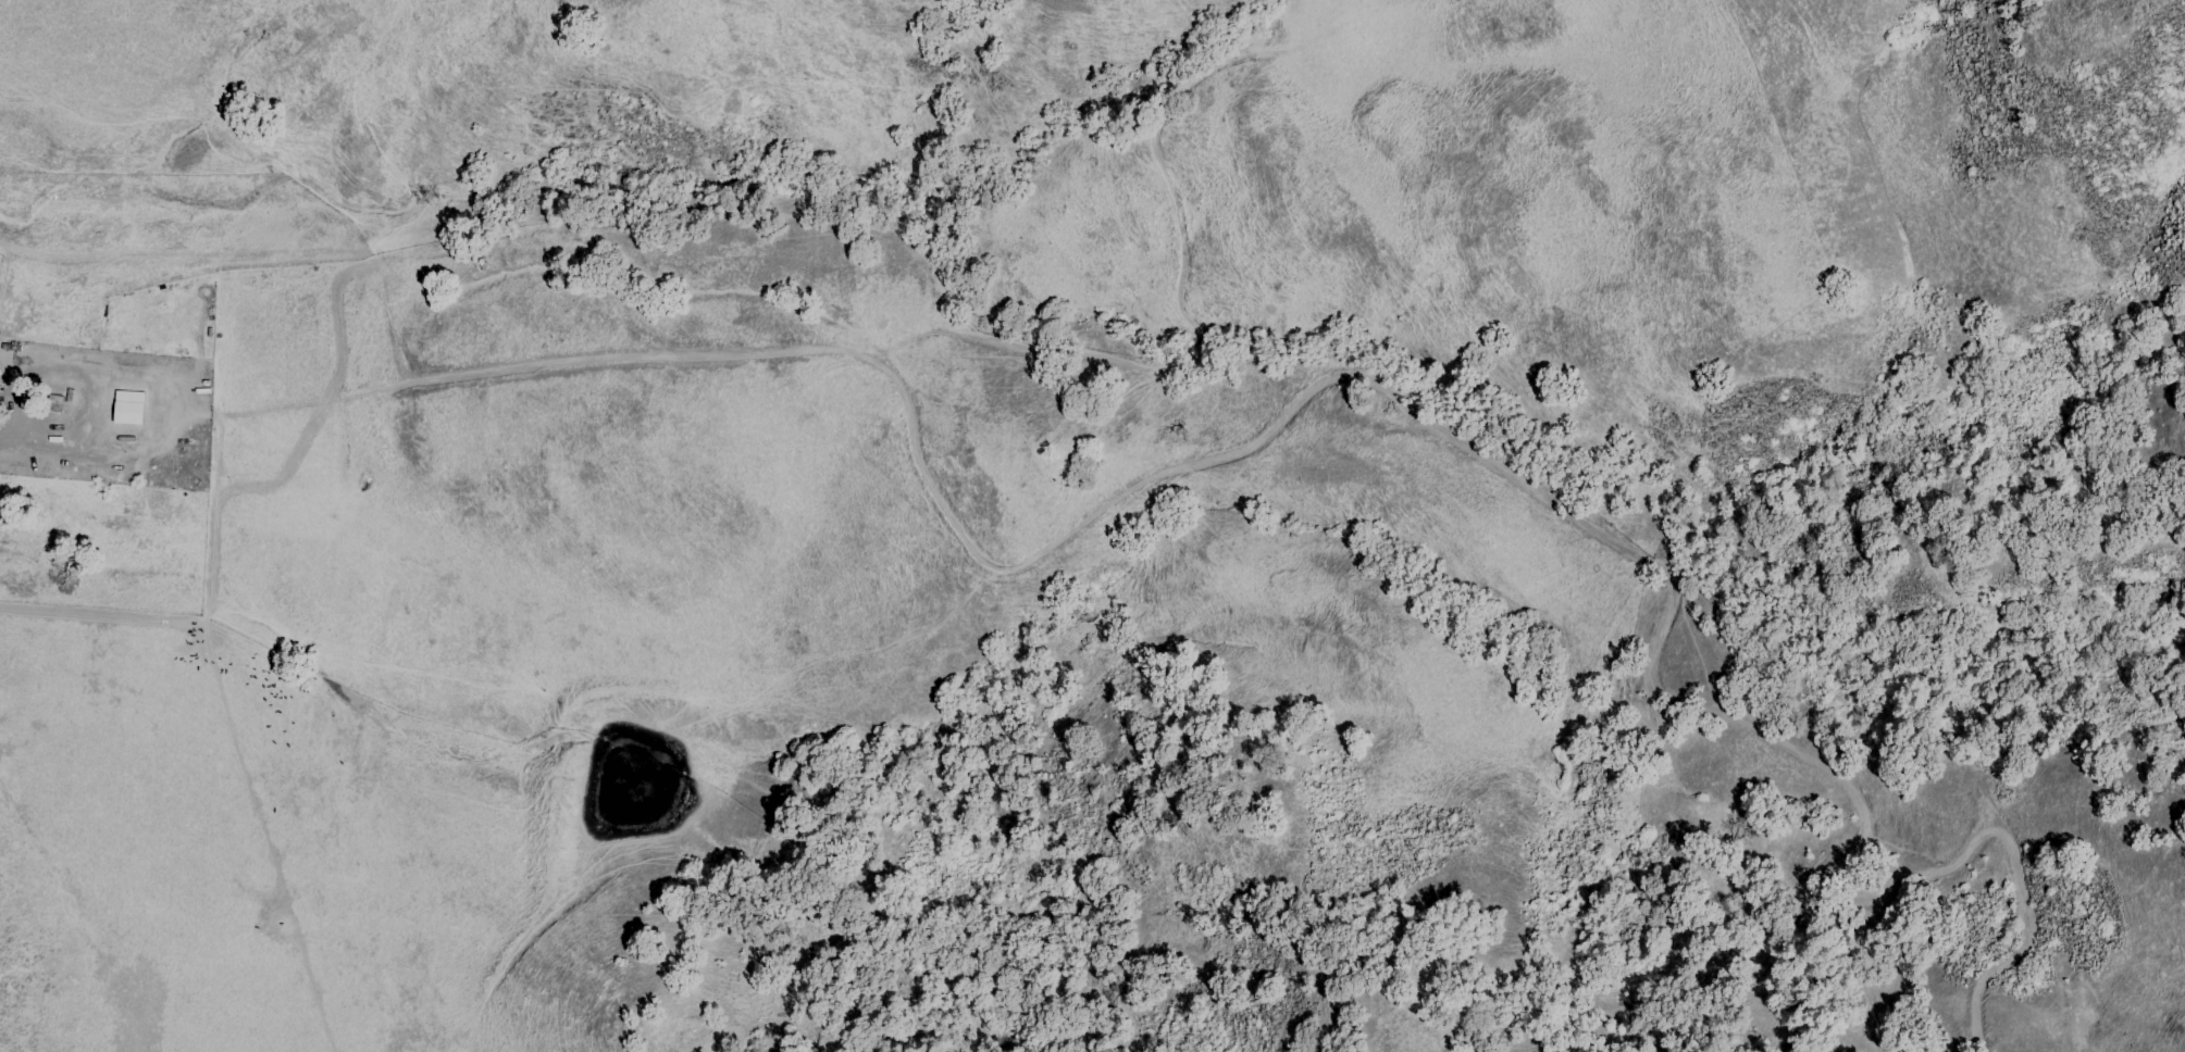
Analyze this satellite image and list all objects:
road: (5, 271)
road: (1311, 389)
building: (125, 406)
road: (4, 439)

